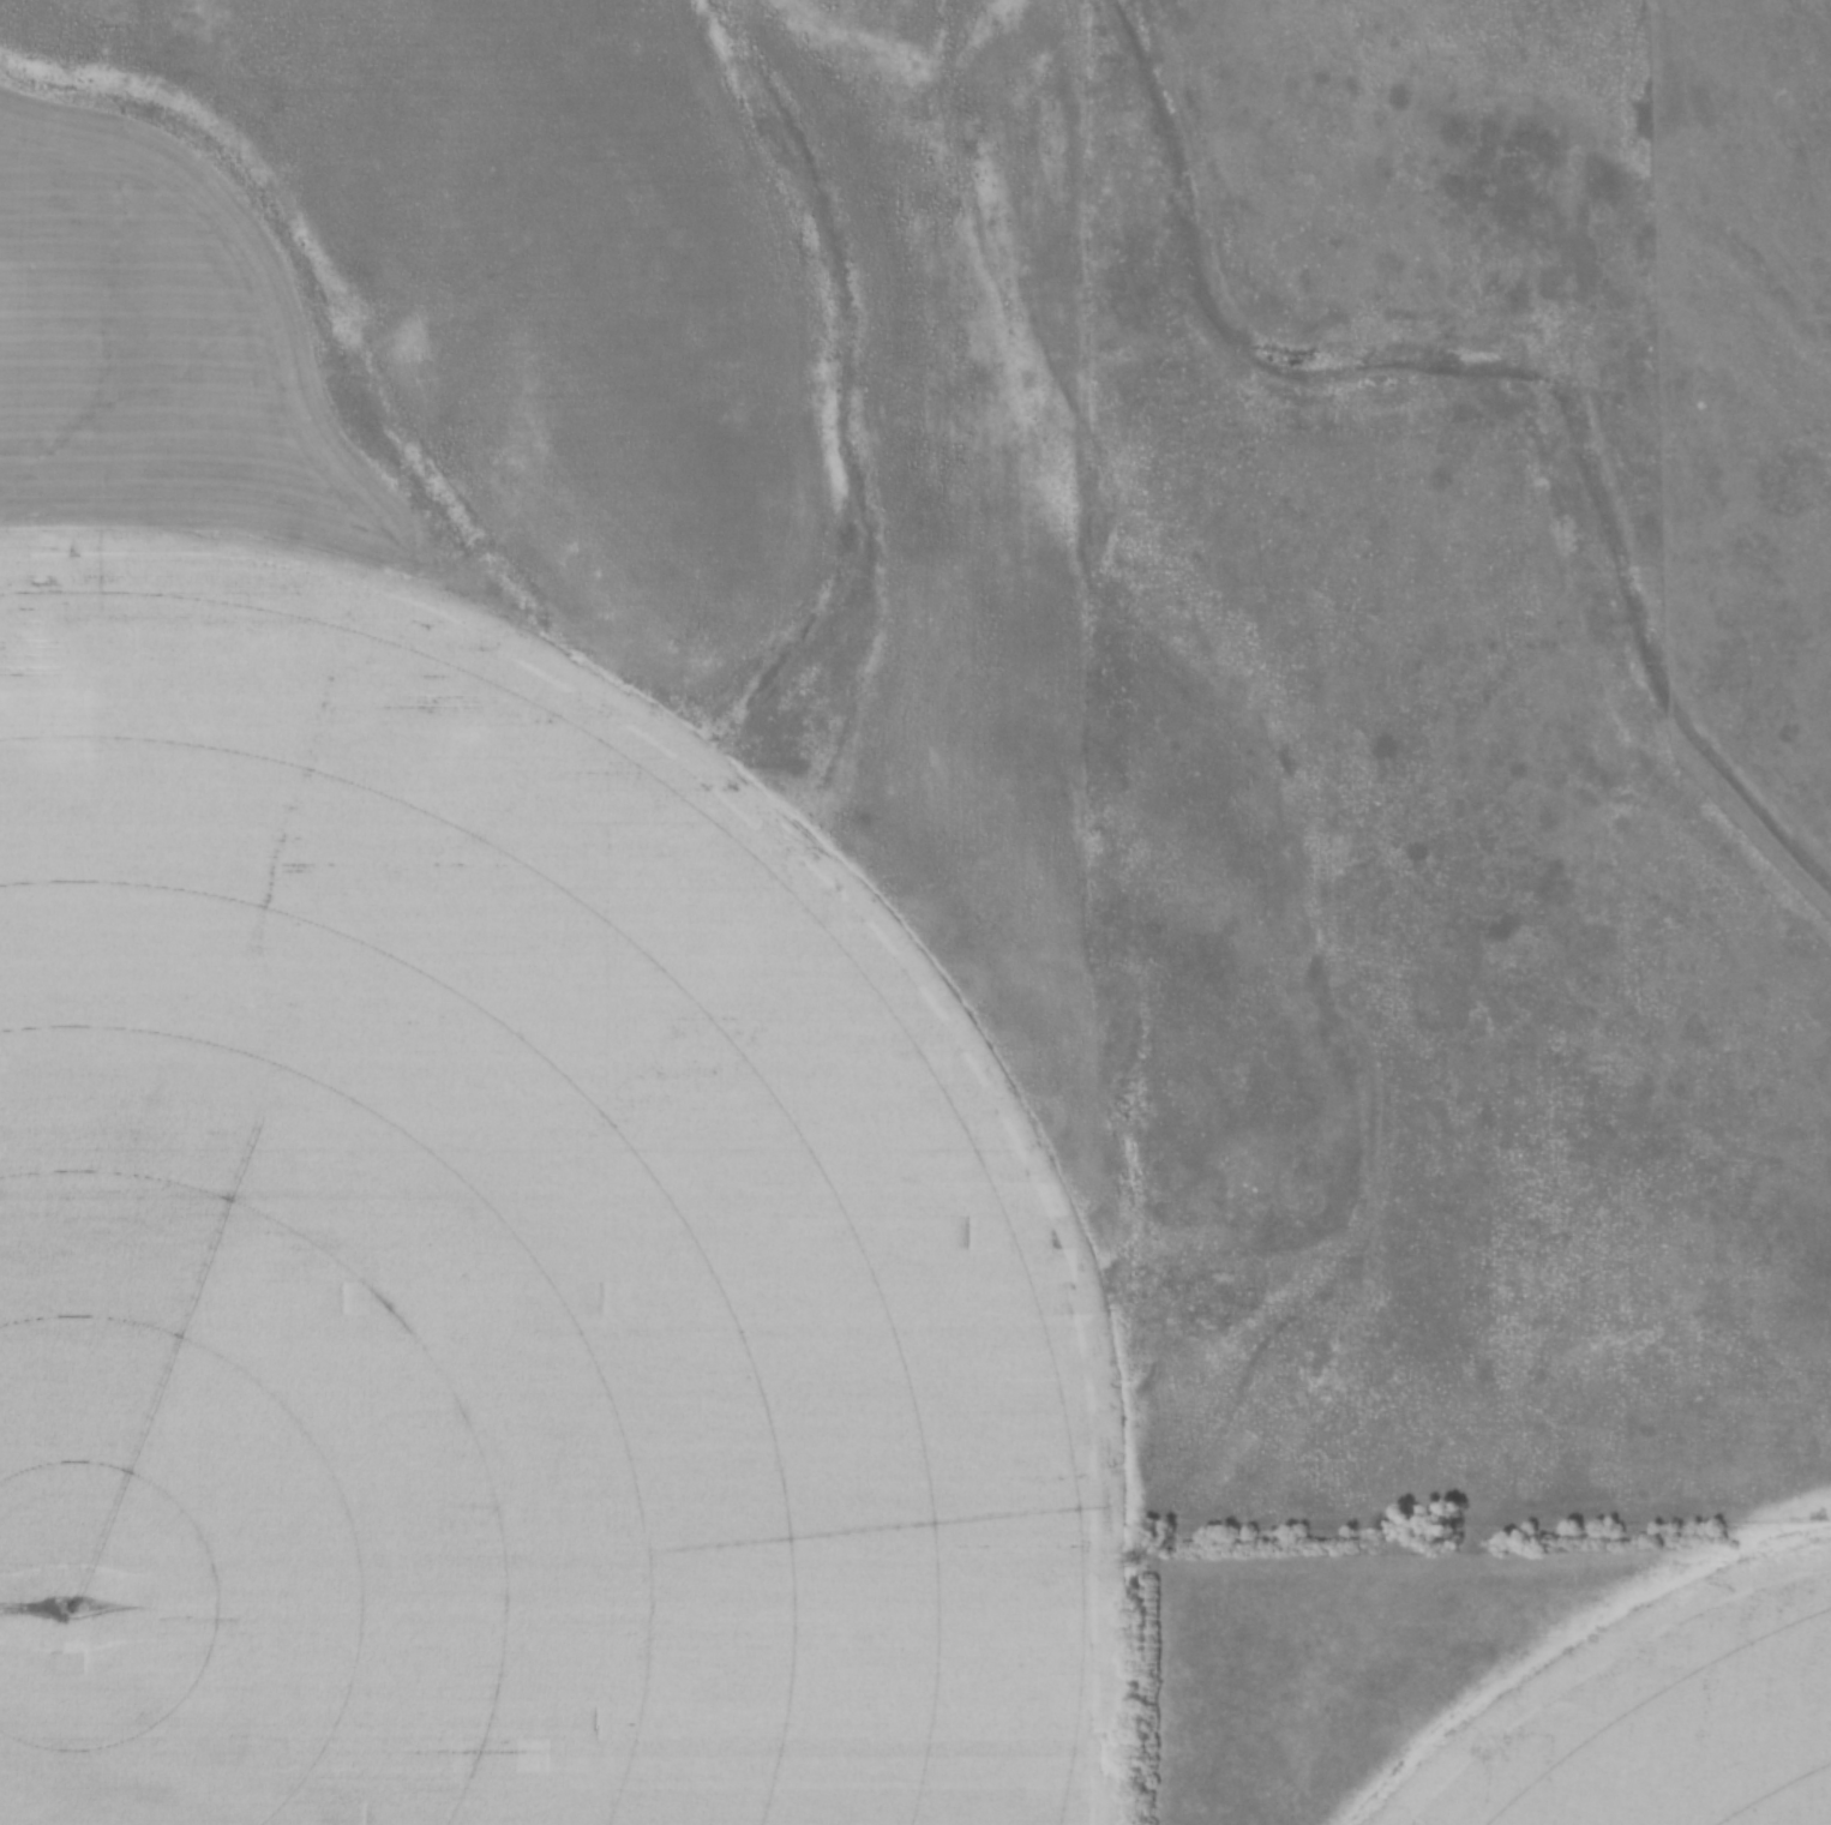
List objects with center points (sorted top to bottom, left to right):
crop: (1655, 1709)

